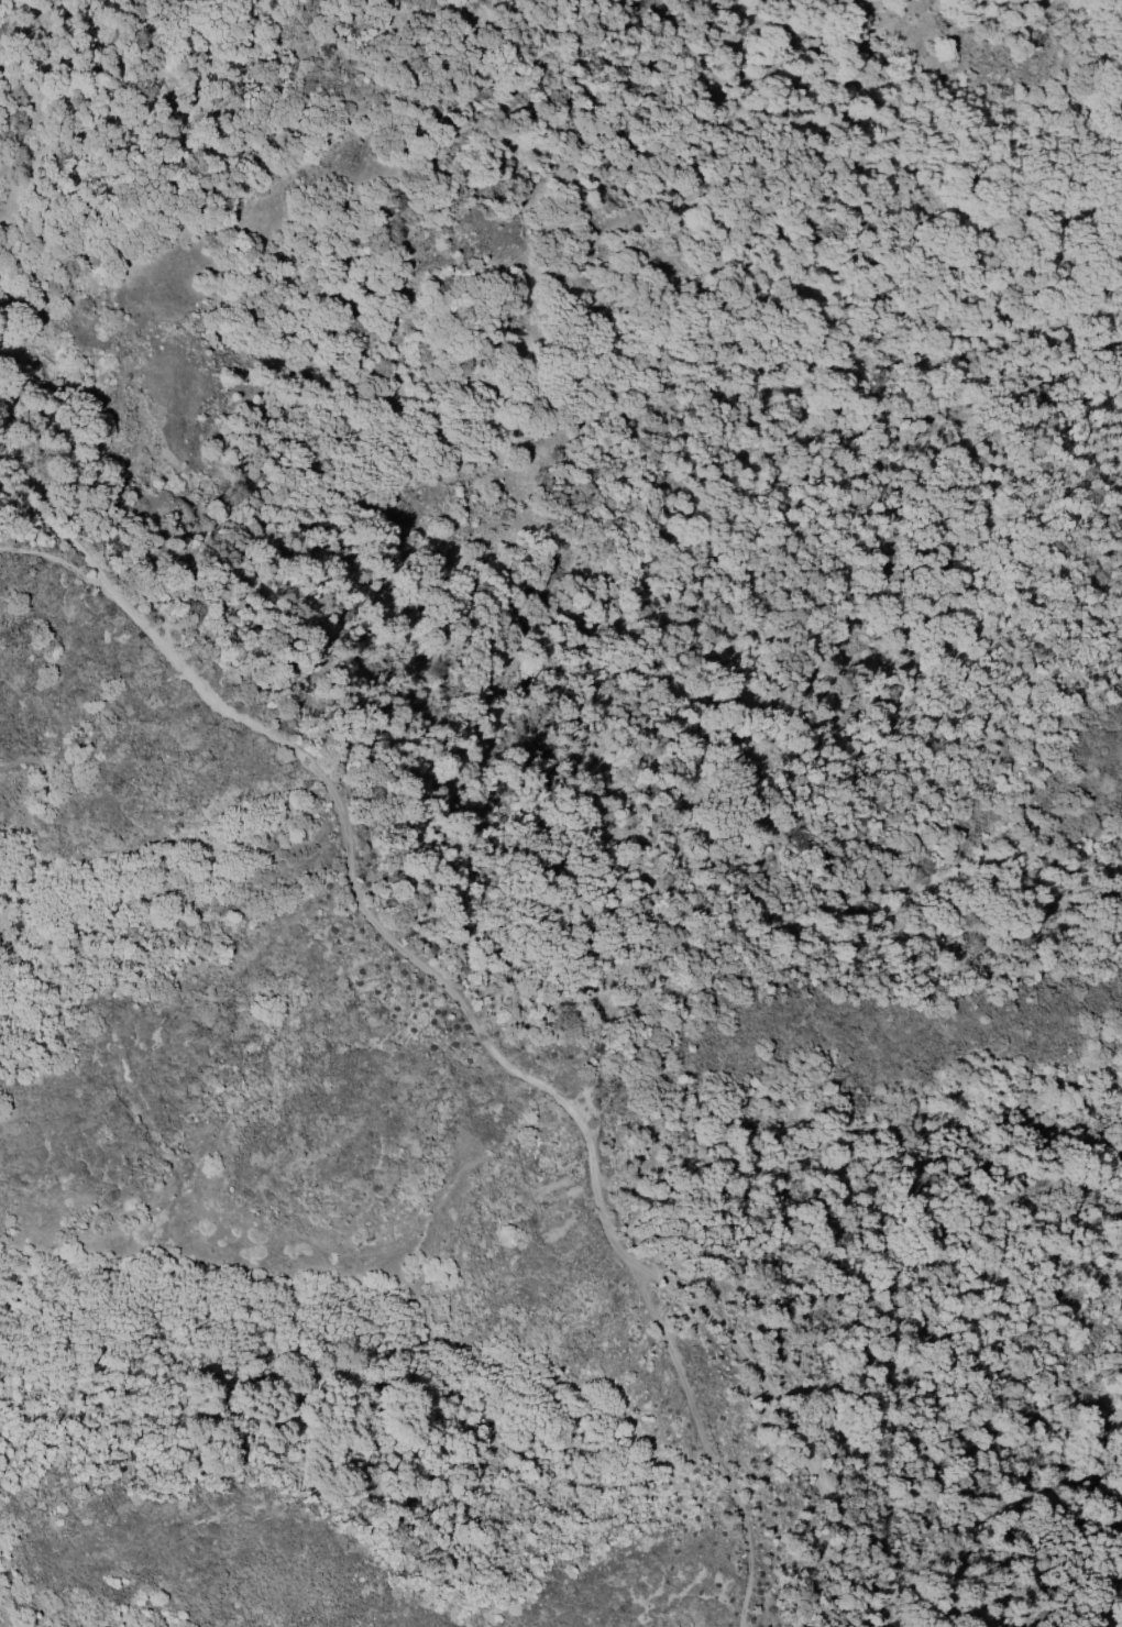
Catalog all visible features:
road: (56, 567)
road: (798, 872)
road: (459, 1001)
road: (788, 1428)

